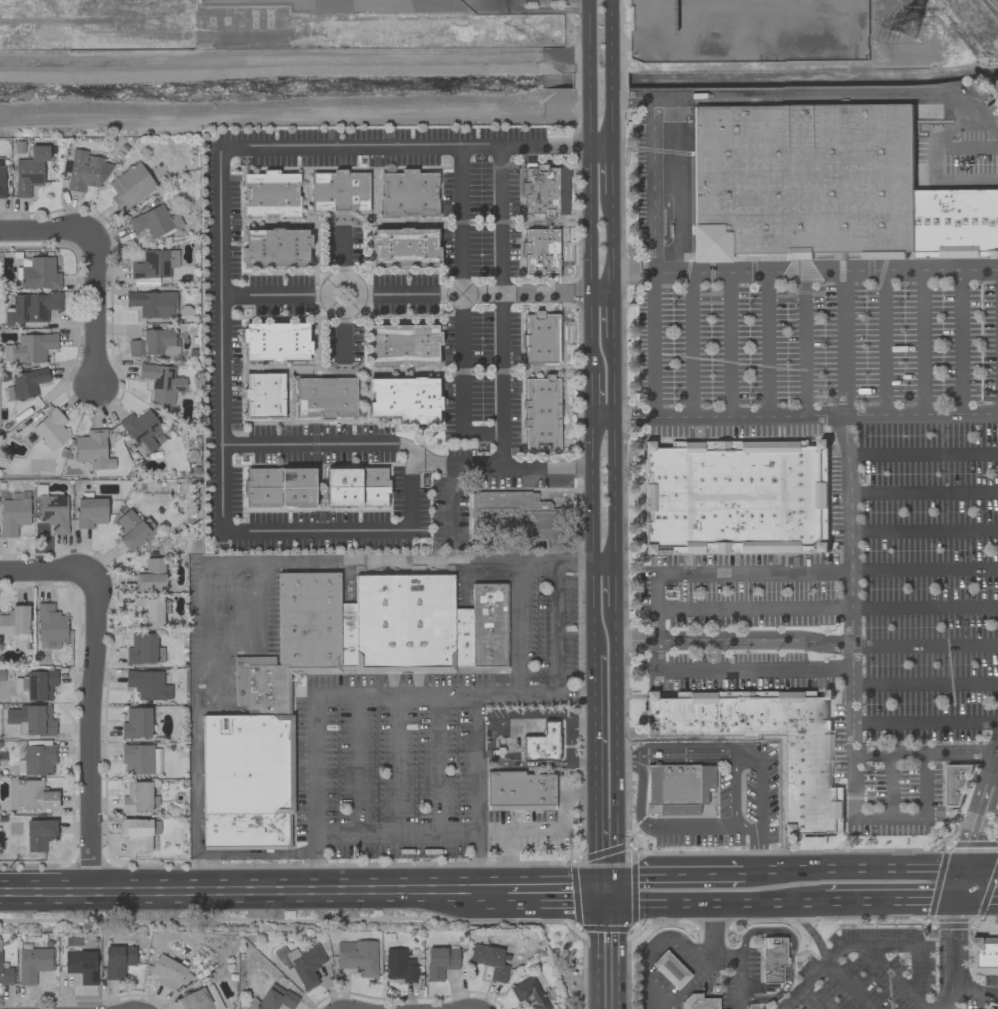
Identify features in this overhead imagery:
road: (554, 1)
power tower: (905, 21)
road: (608, 30)
power substation: (747, 30)
road: (586, 31)
road: (293, 63)
road: (608, 78)
road: (587, 80)
road: (786, 96)
road: (981, 116)
road: (609, 120)
road: (284, 146)
road: (965, 149)
road: (933, 163)
building: (29, 171)
building: (85, 171)
road: (609, 172)
building: (1, 178)
building: (787, 183)
building: (724, 184)
building: (888, 185)
building: (130, 186)
building: (839, 187)
building: (545, 189)
building: (339, 191)
building: (408, 193)
building: (270, 194)
building: (154, 222)
building: (956, 227)
road: (588, 229)
road: (43, 231)
road: (610, 245)
building: (275, 247)
building: (404, 247)
road: (502, 251)
building: (540, 251)
road: (342, 253)
road: (653, 255)
building: (154, 264)
building: (38, 273)
road: (804, 274)
road: (358, 292)
road: (485, 296)
building: (151, 303)
road: (461, 306)
building: (31, 307)
road: (94, 311)
road: (611, 325)
road: (342, 335)
building: (540, 338)
building: (275, 341)
building: (152, 342)
road: (921, 344)
road: (962, 344)
building: (402, 345)
road: (688, 345)
road: (727, 345)
road: (767, 345)
road: (805, 345)
road: (846, 345)
road: (886, 345)
building: (29, 347)
building: (161, 383)
building: (25, 384)
road: (589, 390)
building: (264, 395)
building: (326, 397)
building: (404, 400)
building: (541, 414)
road: (793, 416)
building: (51, 430)
building: (141, 431)
road: (315, 444)
building: (92, 450)
road: (923, 456)
road: (612, 459)
building: (280, 487)
building: (356, 487)
road: (924, 494)
road: (450, 499)
building: (733, 501)
building: (53, 512)
building: (90, 512)
building: (511, 514)
building: (13, 515)
building: (131, 529)
road: (590, 530)
road: (276, 531)
road: (924, 534)
road: (563, 559)
road: (291, 560)
road: (45, 570)
road: (683, 573)
building: (150, 576)
road: (850, 585)
road: (612, 586)
road: (828, 610)
building: (147, 612)
building: (50, 623)
building: (15, 624)
building: (313, 624)
building: (404, 624)
road: (515, 626)
road: (554, 626)
road: (256, 628)
building: (483, 629)
road: (732, 640)
building: (47, 644)
road: (924, 648)
building: (142, 649)
building: (39, 684)
building: (147, 684)
road: (925, 685)
building: (260, 686)
building: (19, 688)
building: (31, 720)
building: (136, 723)
road: (925, 727)
road: (95, 733)
building: (541, 743)
road: (687, 748)
road: (614, 751)
road: (925, 753)
building: (136, 758)
building: (38, 759)
building: (156, 759)
road: (399, 761)
road: (354, 762)
road: (439, 762)
building: (247, 764)
building: (805, 764)
road: (592, 768)
road: (996, 771)
road: (194, 776)
road: (313, 777)
road: (890, 786)
building: (957, 786)
building: (679, 787)
road: (761, 790)
building: (518, 791)
road: (735, 792)
building: (30, 795)
building: (138, 797)
road: (890, 818)
road: (533, 828)
road: (663, 828)
building: (245, 831)
building: (139, 832)
building: (38, 834)
road: (762, 851)
road: (235, 854)
road: (313, 862)
road: (482, 862)
traffic signals: (965, 868)
road: (981, 868)
road: (853, 870)
road: (671, 873)
road: (960, 882)
road: (254, 891)
road: (556, 893)
traffic signals: (604, 893)
traffic signals: (955, 898)
road: (976, 898)
road: (888, 899)
road: (712, 900)
road: (806, 927)
road: (851, 947)
road: (605, 951)
road: (655, 951)
road: (788, 952)
building: (985, 956)
building: (357, 957)
road: (723, 957)
building: (489, 960)
building: (772, 960)
building: (117, 961)
building: (440, 961)
building: (33, 963)
building: (301, 963)
building: (81, 965)
building: (398, 966)
building: (669, 969)
gas station: (670, 969)
building: (166, 972)
road: (918, 974)
building: (6, 976)
road: (895, 977)
road: (686, 984)
road: (848, 986)
road: (974, 992)
building: (528, 993)
building: (275, 998)
building: (200, 999)
road: (806, 999)
building: (698, 1002)

